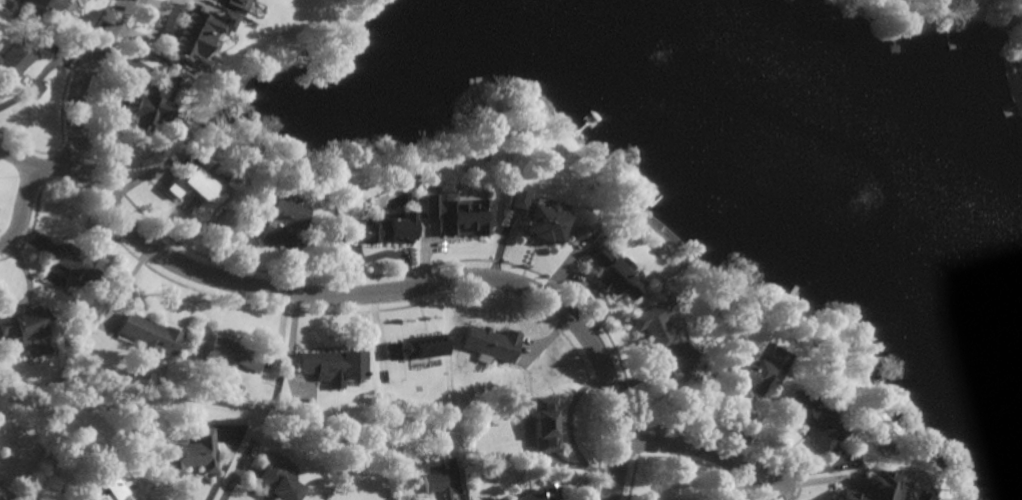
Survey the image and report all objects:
building: (238, 4)
building: (45, 5)
building: (196, 36)
building: (1020, 54)
building: (12, 63)
road: (40, 73)
building: (146, 110)
building: (258, 161)
road: (55, 165)
building: (196, 190)
road: (26, 193)
building: (487, 194)
building: (536, 216)
building: (459, 217)
building: (282, 220)
building: (379, 230)
building: (78, 264)
building: (616, 275)
road: (318, 295)
building: (25, 325)
building: (149, 335)
building: (664, 336)
building: (492, 344)
building: (416, 349)
building: (233, 352)
building: (334, 363)
building: (741, 372)
building: (816, 418)
building: (545, 422)
road: (699, 447)
building: (194, 453)
road: (238, 471)
building: (114, 477)
building: (277, 479)
building: (437, 484)
building: (876, 488)
building: (539, 493)

